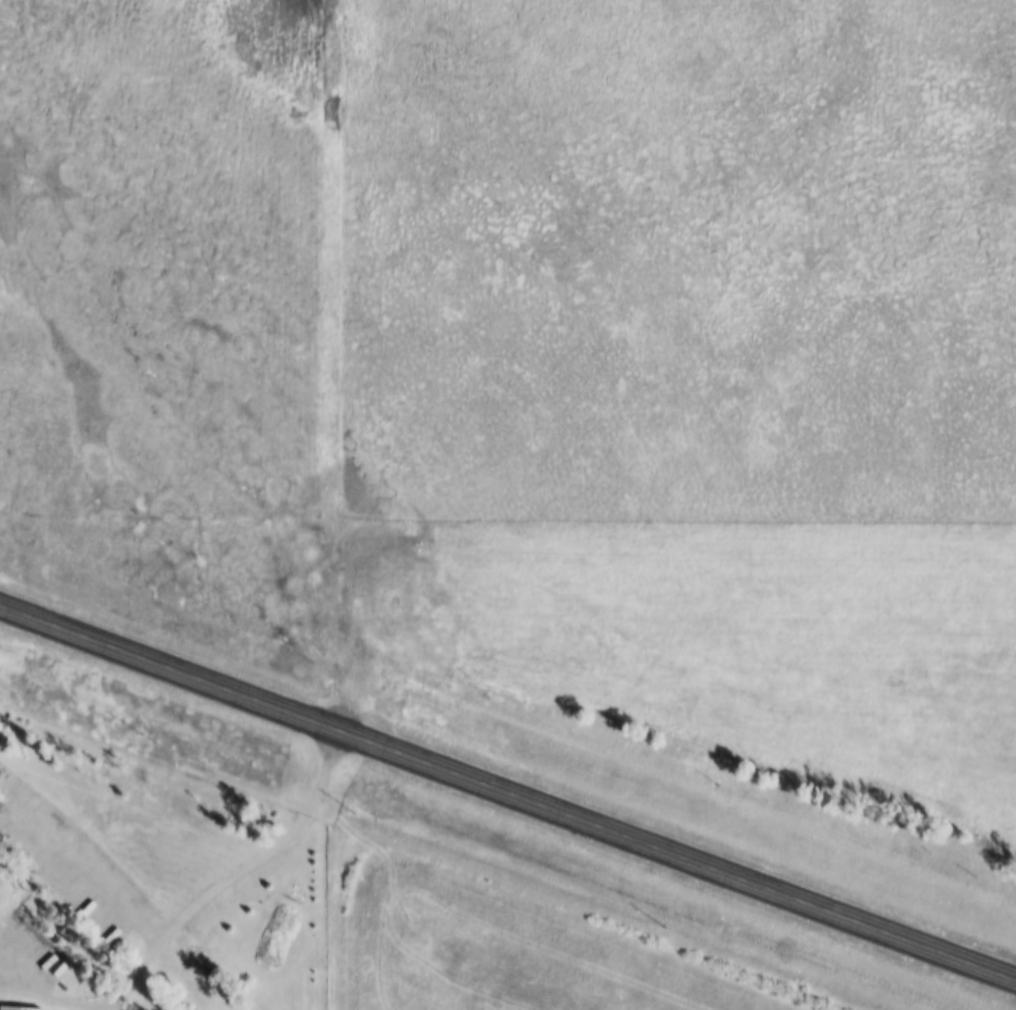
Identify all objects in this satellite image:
road: (507, 788)
road: (193, 905)
building: (19, 1008)

